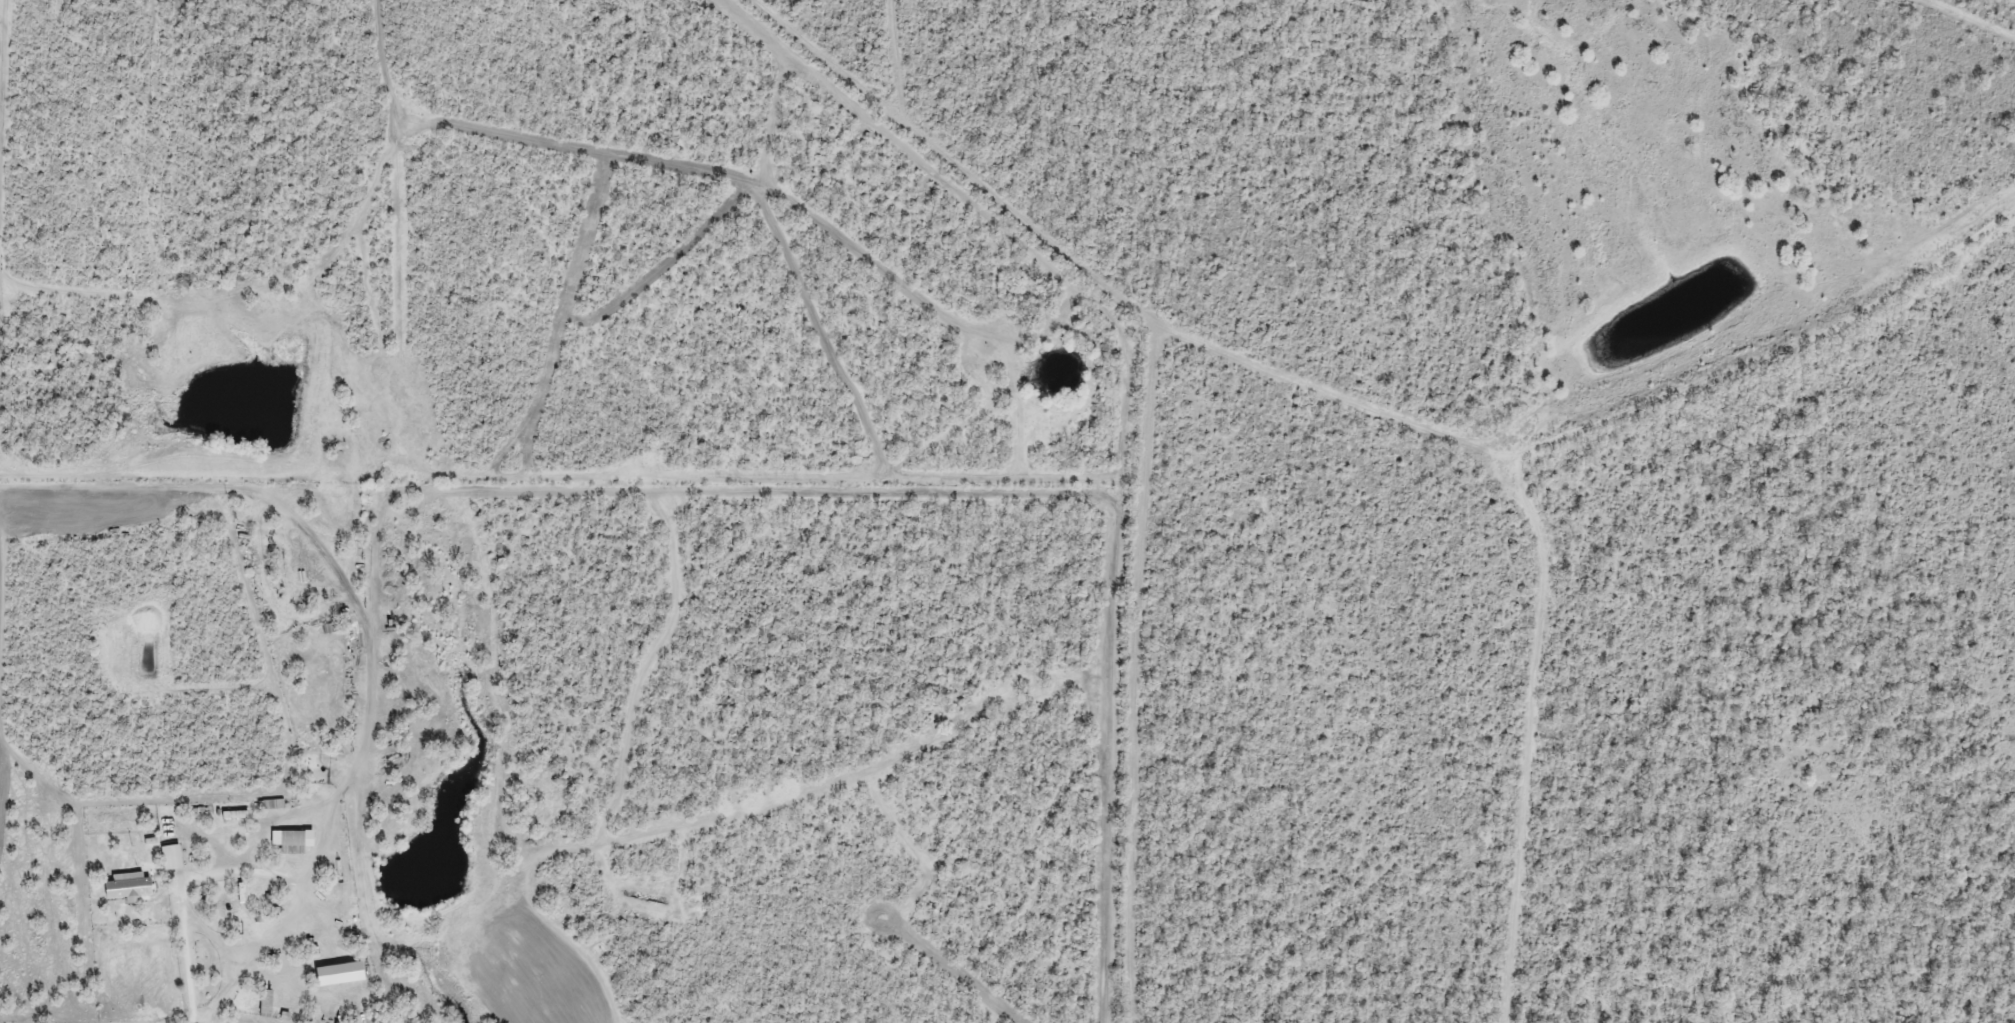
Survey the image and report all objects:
building: (293, 840)
road: (252, 870)
building: (129, 890)
building: (267, 1003)

